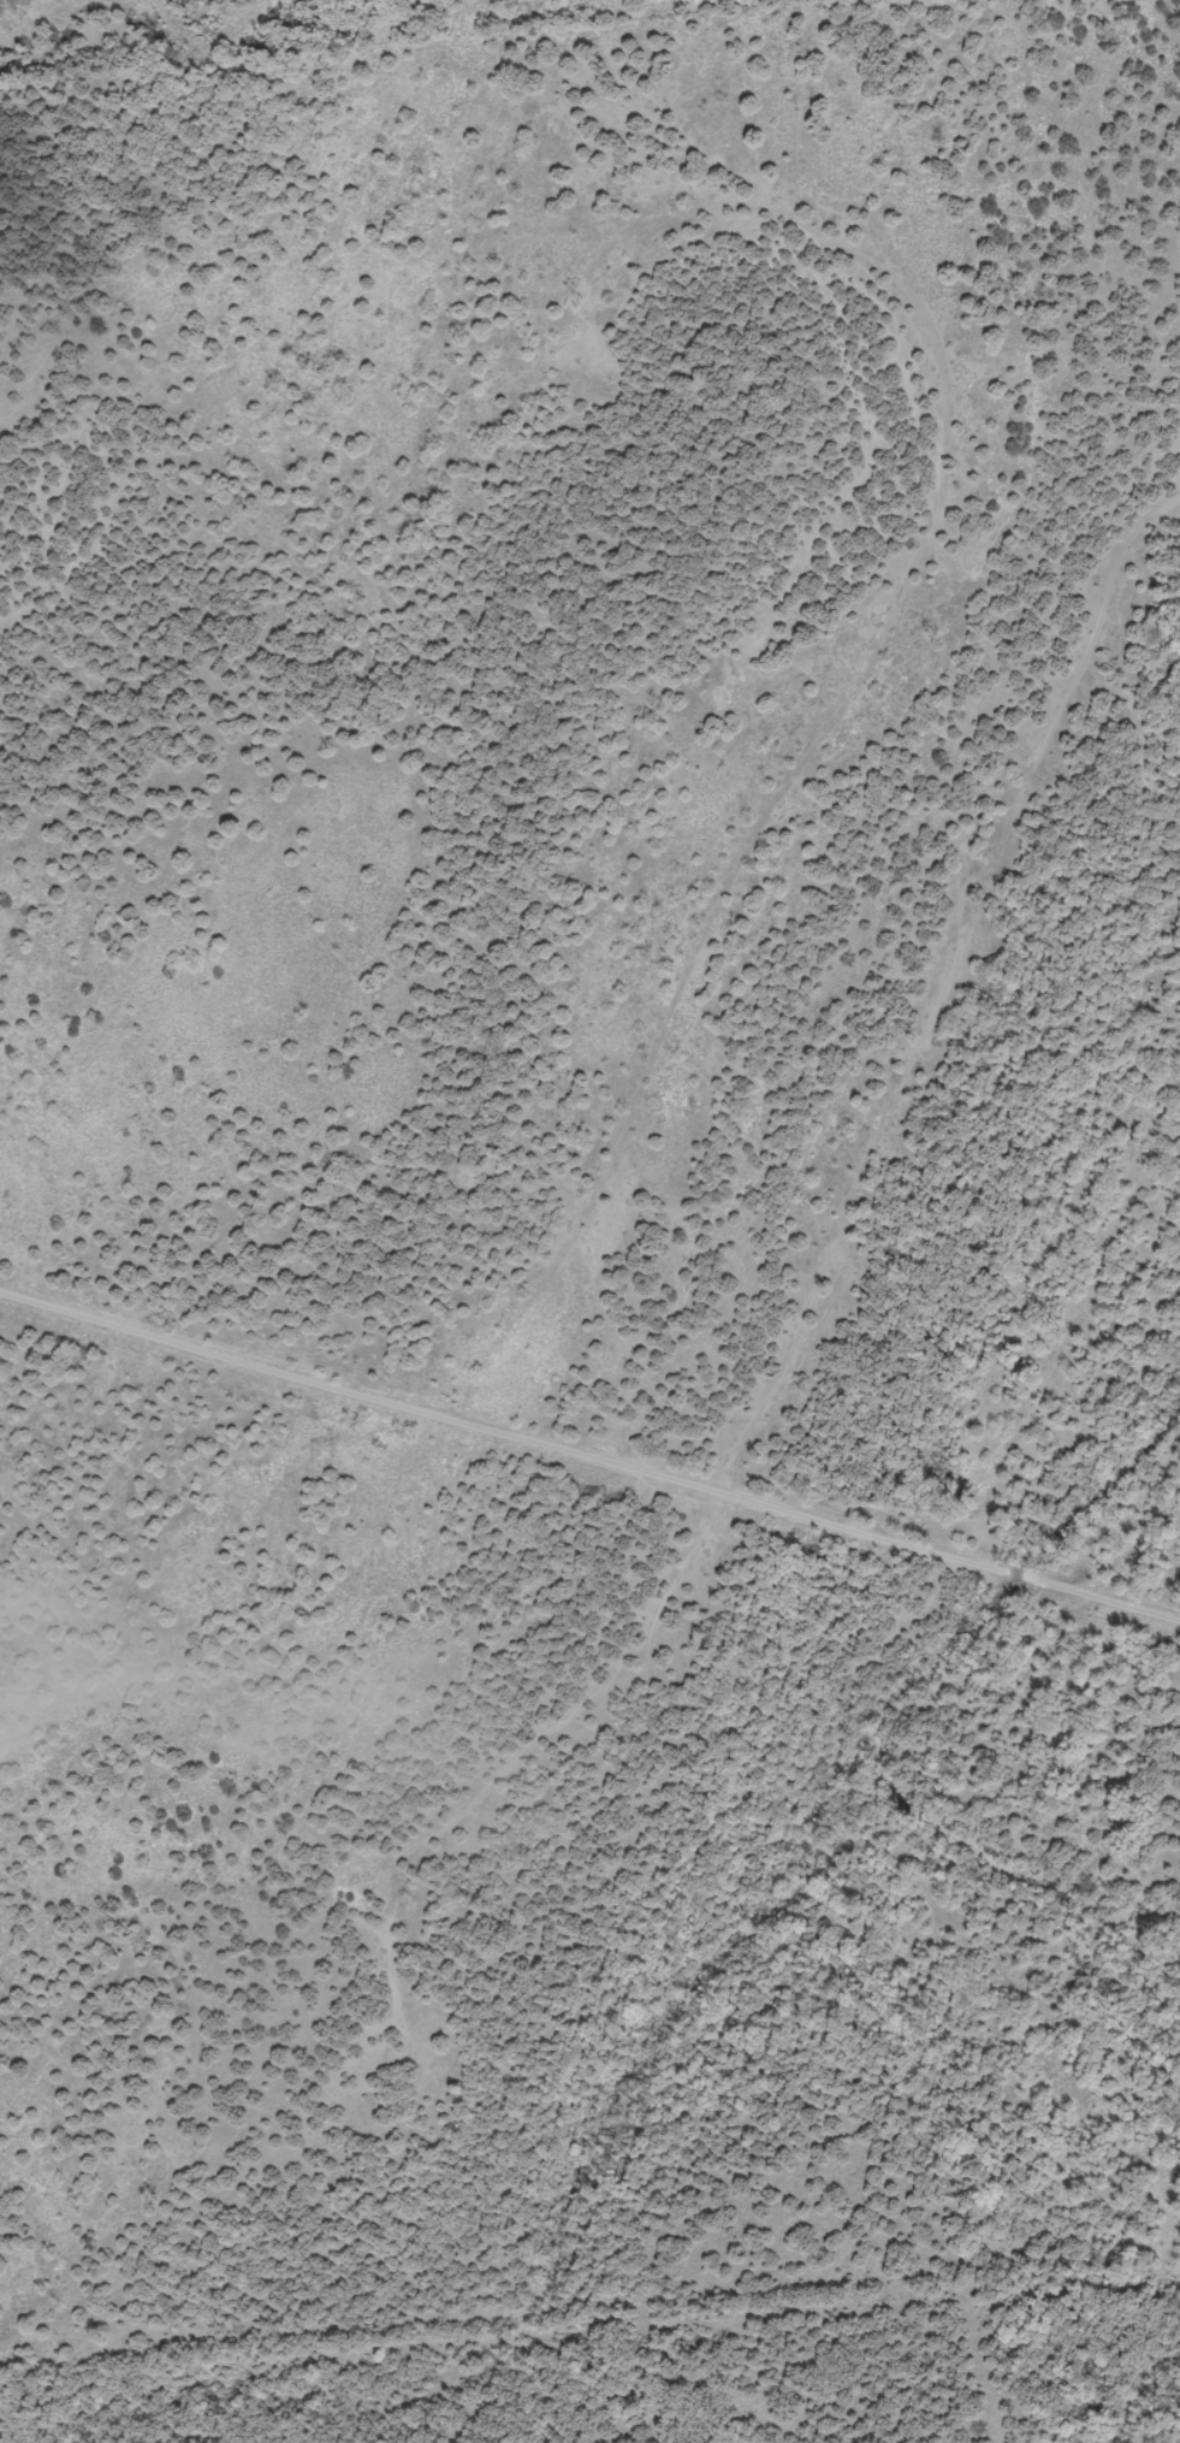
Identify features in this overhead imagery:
road: (582, 307)
road: (816, 740)
road: (588, 1454)

